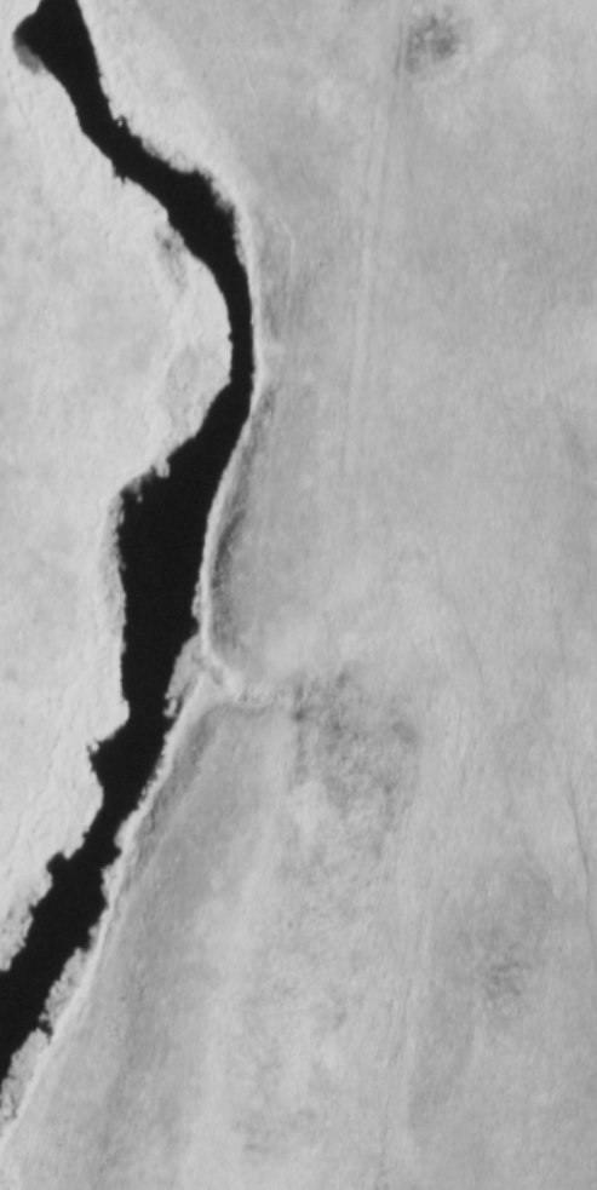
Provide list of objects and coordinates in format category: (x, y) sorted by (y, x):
river: (171, 485)

